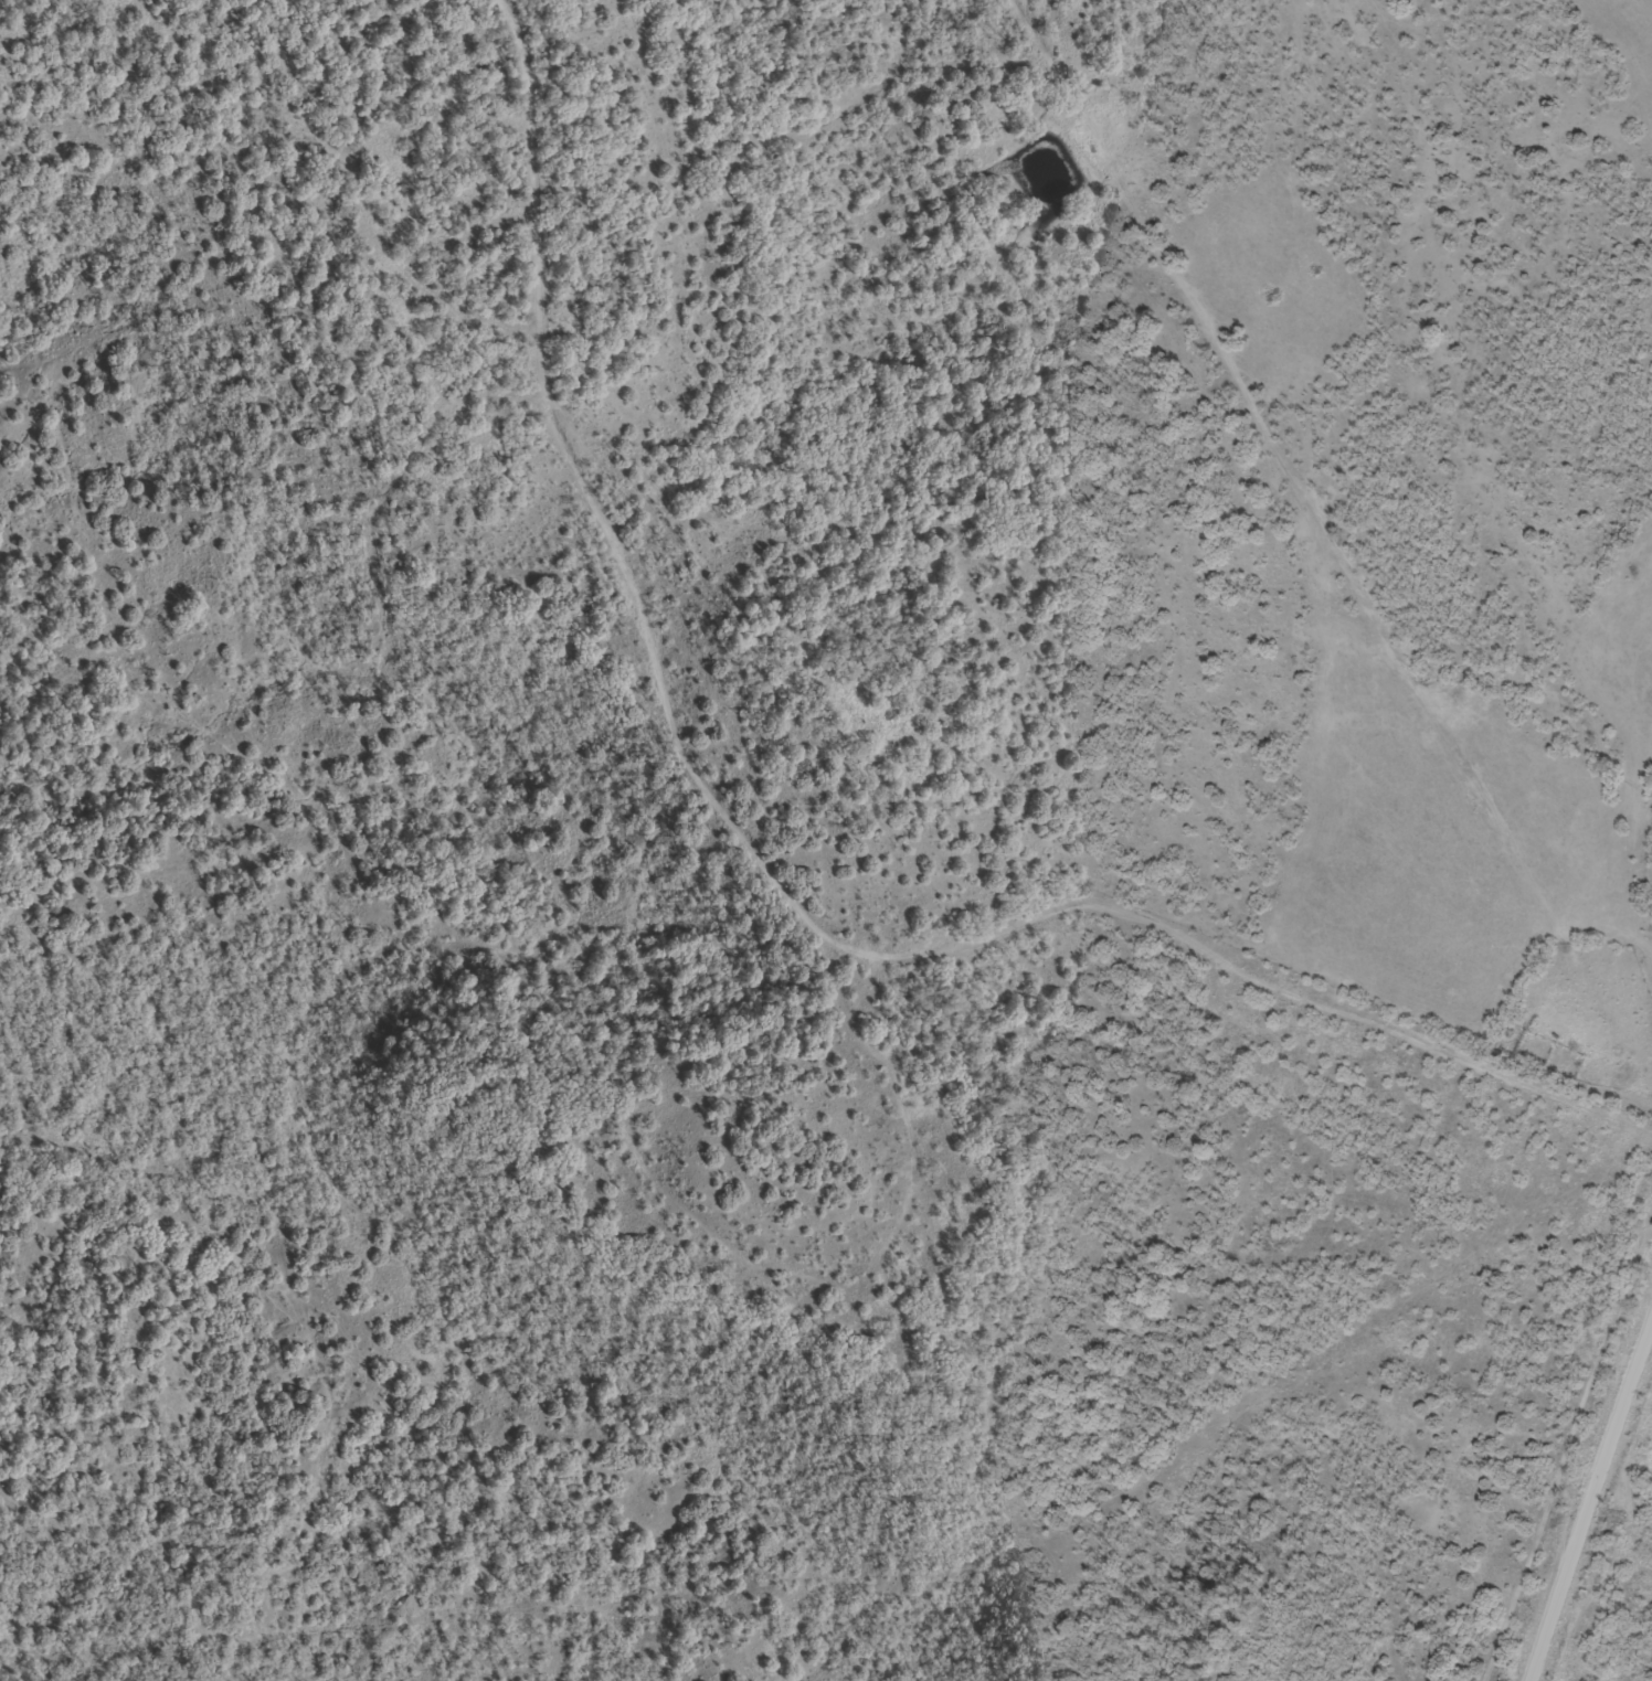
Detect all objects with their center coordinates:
road: (1328, 535)
road: (783, 883)
road: (1591, 1511)

